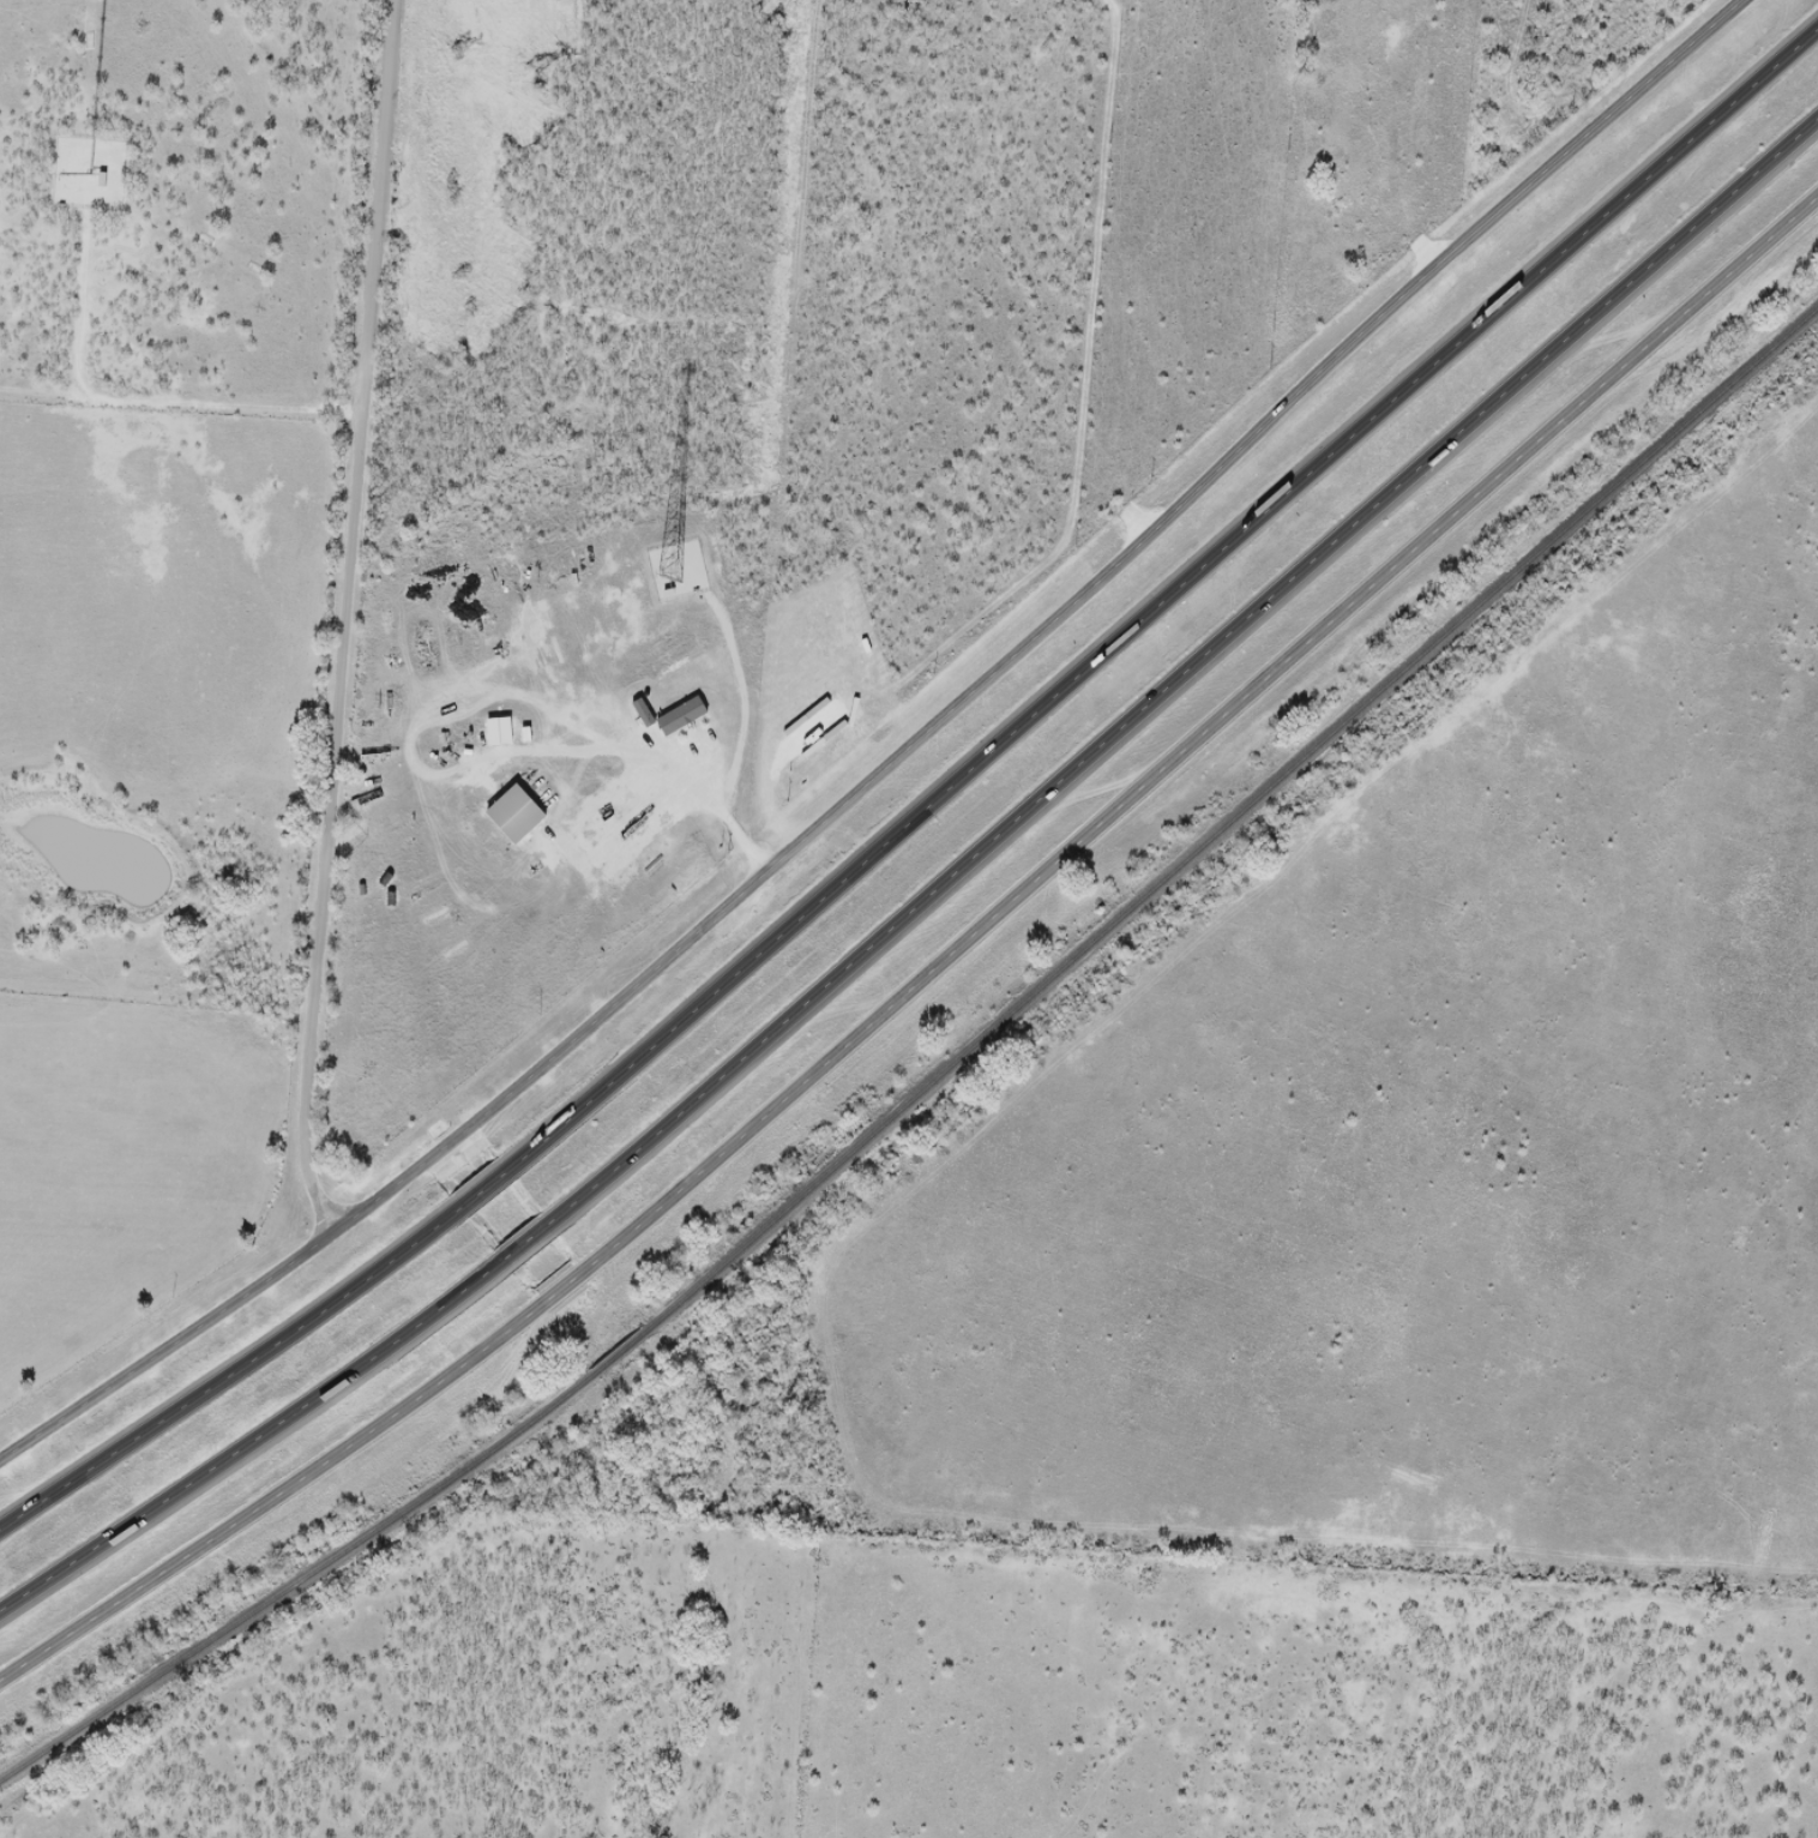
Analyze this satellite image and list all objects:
road: (134, 401)
road: (1162, 590)
road: (347, 619)
road: (1186, 675)
road: (740, 737)
road: (895, 753)
road: (656, 787)
road: (931, 965)
railway: (937, 1081)
road: (487, 1187)
road: (529, 1245)
road: (231, 1367)
road: (255, 1441)

